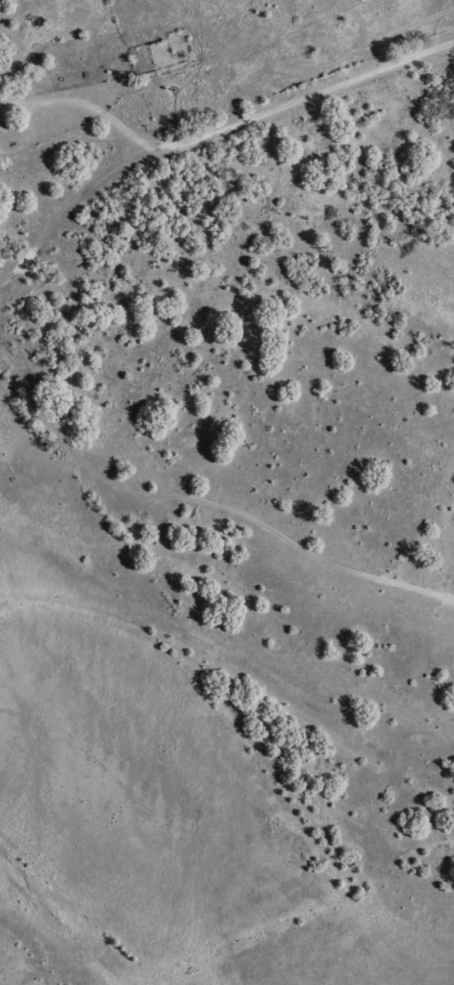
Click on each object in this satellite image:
road: (225, 77)

